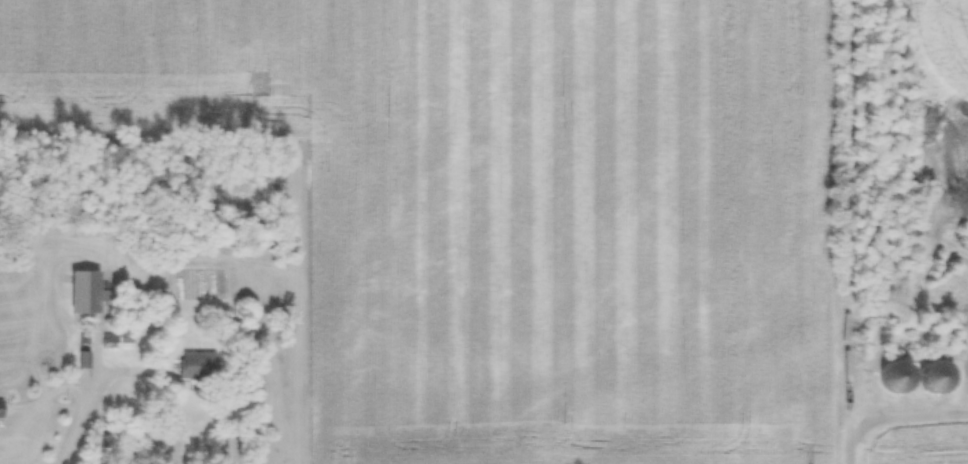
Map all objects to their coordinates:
crop: (520, 209)
building: (88, 291)
building: (109, 335)
building: (79, 356)
building: (196, 363)
building: (2, 409)
road: (893, 414)

